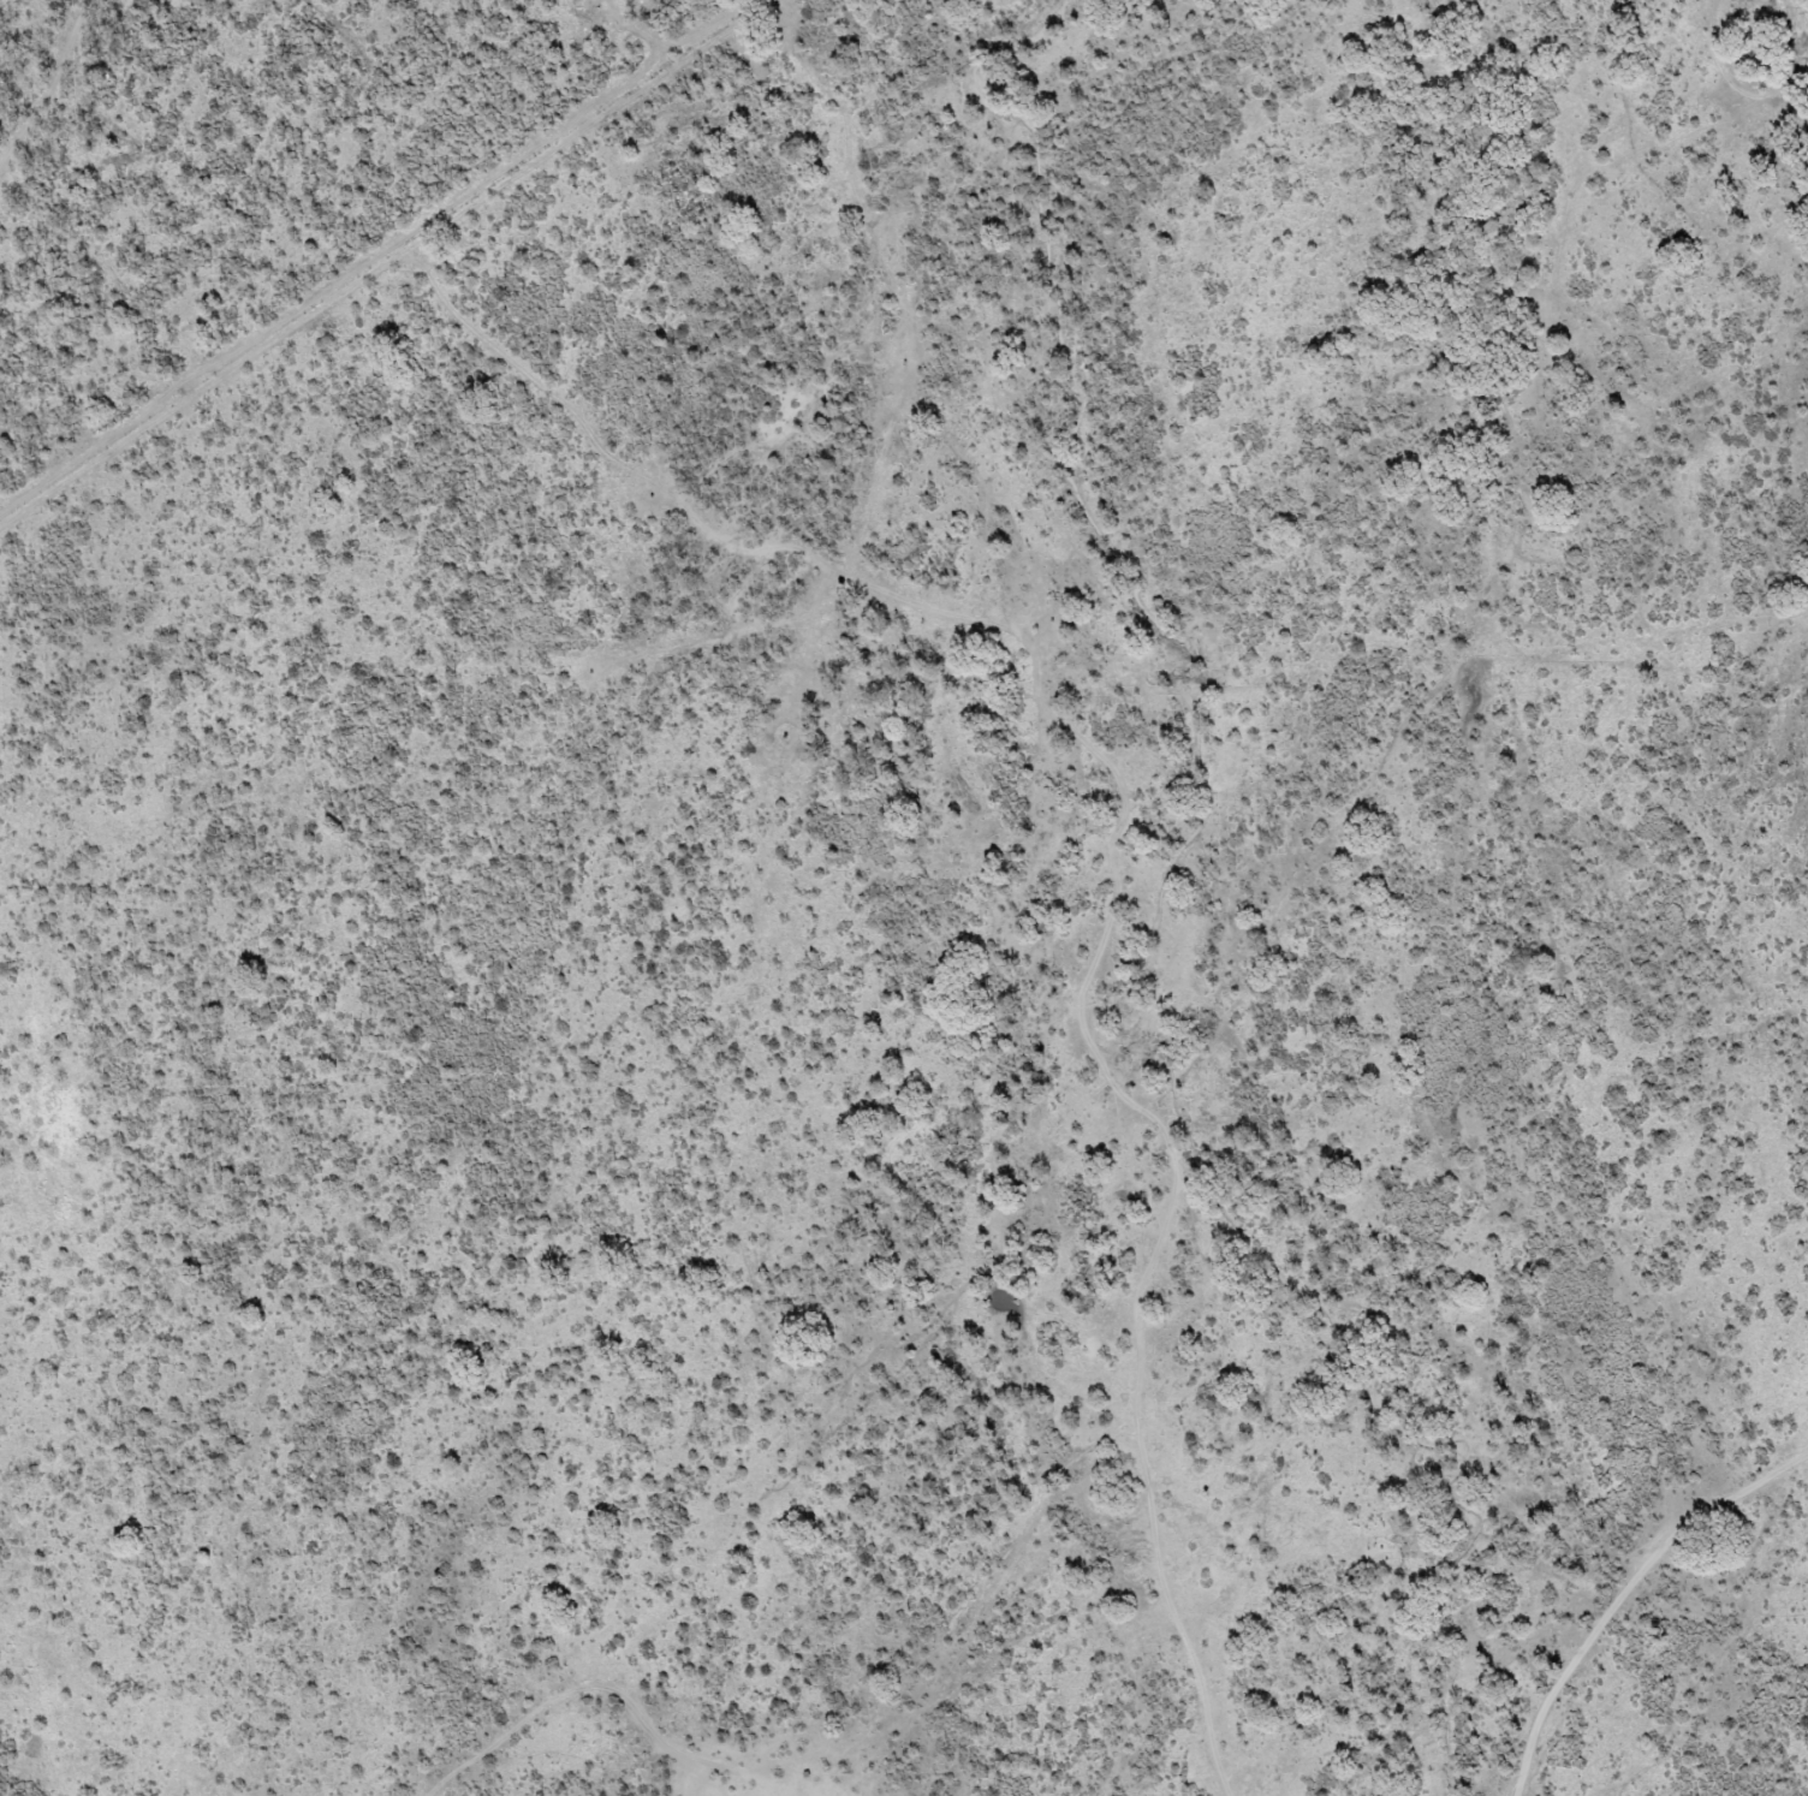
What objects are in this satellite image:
road: (1624, 1593)

